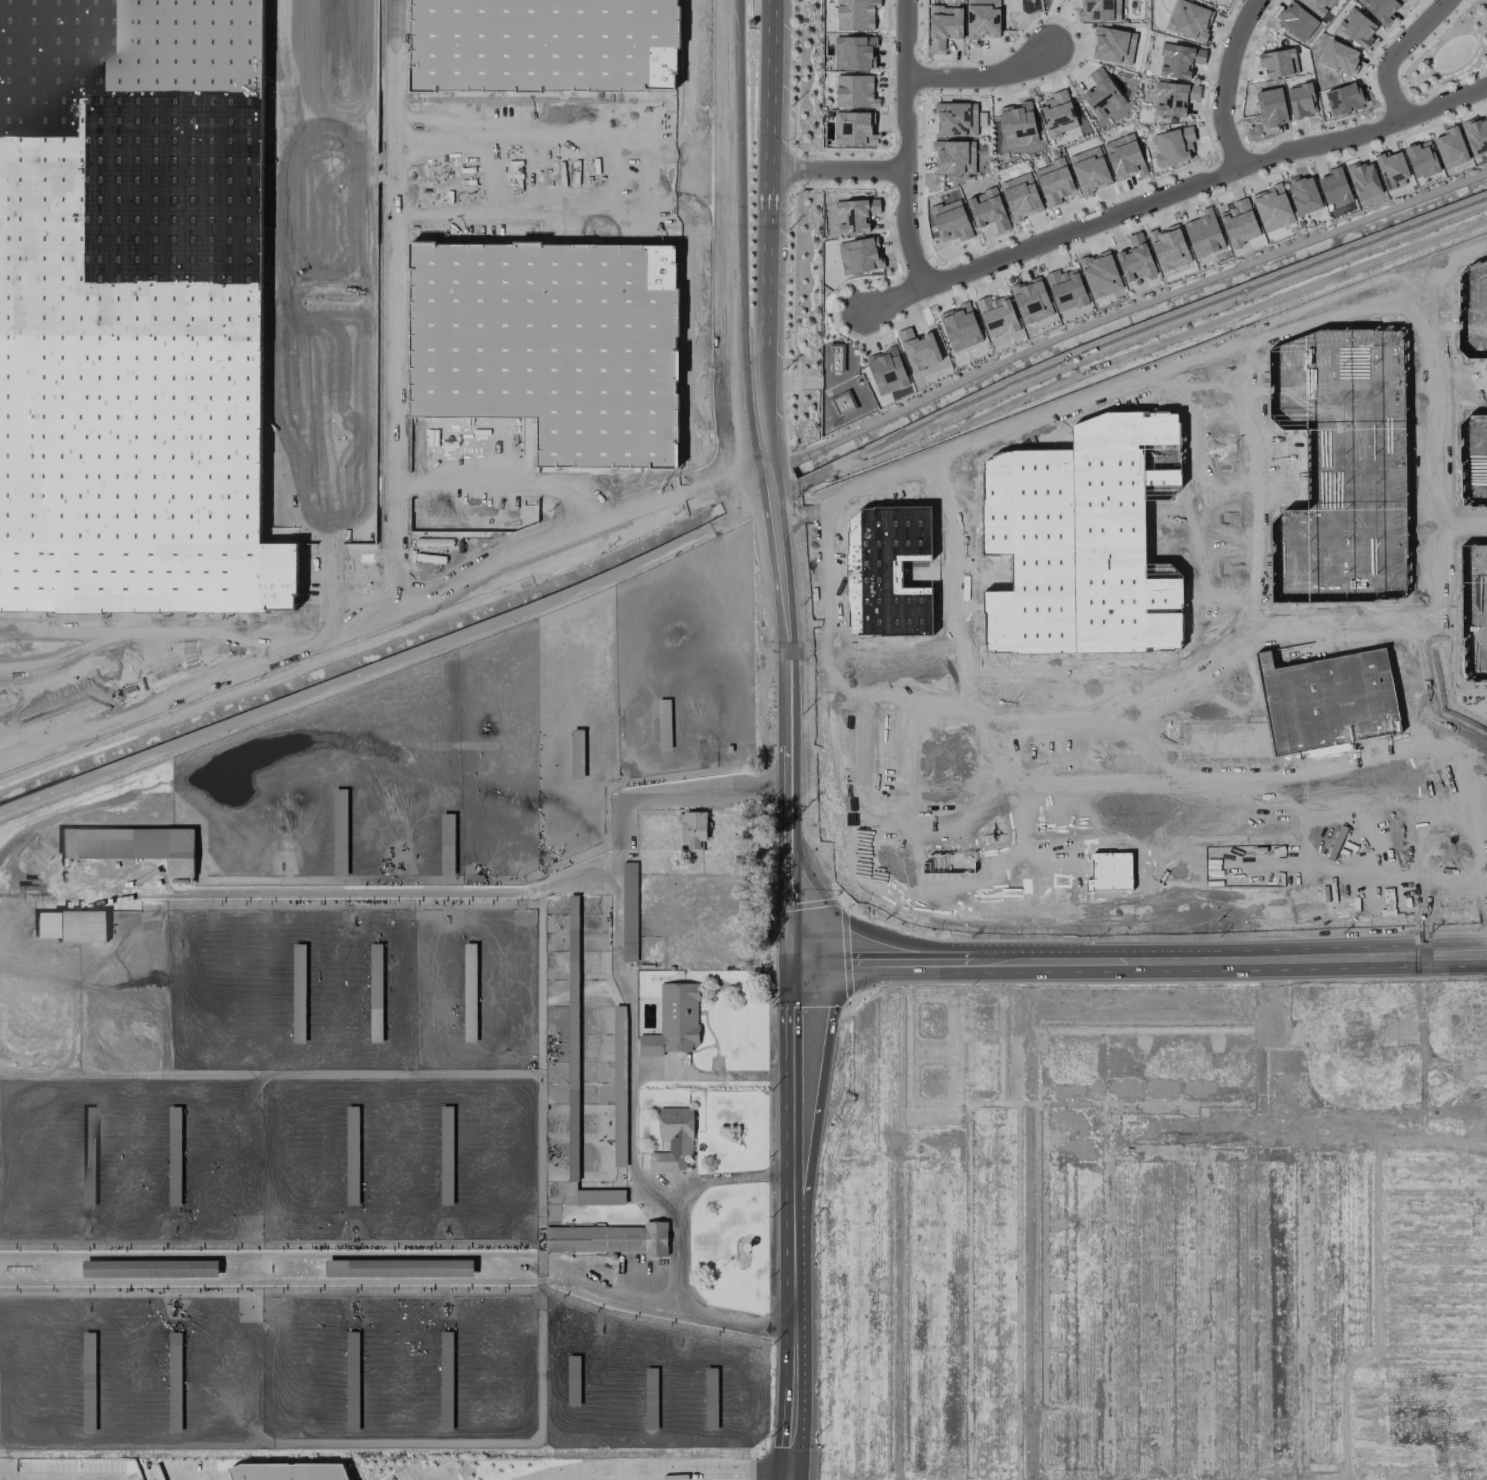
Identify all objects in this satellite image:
building: (1403, 0)
building: (1317, 5)
building: (1380, 8)
building: (1099, 10)
building: (855, 14)
building: (983, 19)
building: (1188, 20)
building: (1296, 20)
building: (944, 25)
building: (1356, 27)
road: (1481, 32)
building: (658, 38)
building: (1113, 45)
road: (1395, 51)
building: (854, 52)
park: (1448, 54)
building: (1340, 57)
building: (1179, 60)
building: (1278, 62)
road: (1431, 69)
road: (980, 77)
road: (1417, 81)
road: (1225, 82)
road: (1405, 82)
road: (1412, 83)
building: (855, 91)
building: (1102, 94)
building: (1174, 97)
building: (1344, 99)
building: (1301, 100)
building: (1271, 107)
building: (1057, 114)
building: (956, 119)
building: (1018, 125)
building: (853, 128)
building: (1476, 136)
road: (904, 145)
building: (1173, 145)
building: (1450, 147)
road: (578, 155)
building: (954, 156)
building: (1124, 156)
building: (1421, 159)
building: (1392, 169)
road: (835, 170)
building: (1089, 170)
building: (1364, 180)
road: (578, 182)
building: (1054, 182)
building: (1335, 188)
road: (1173, 193)
building: (1303, 194)
building: (1021, 196)
building: (1272, 208)
building: (988, 209)
building: (855, 214)
building: (950, 221)
building: (1239, 223)
road: (767, 229)
building: (1204, 233)
road: (734, 235)
building: (1168, 247)
building: (859, 256)
road: (1453, 257)
building: (1135, 259)
building: (1100, 273)
building: (1066, 289)
road: (1419, 292)
building: (1031, 300)
road: (389, 302)
building: (126, 310)
road: (326, 314)
building: (997, 315)
building: (960, 327)
road: (1127, 335)
building: (919, 349)
building: (836, 357)
building: (886, 371)
road: (1091, 391)
building: (842, 405)
road: (1201, 501)
road: (1452, 515)
road: (952, 557)
road: (383, 607)
road: (152, 638)
road: (787, 657)
road: (1109, 673)
road: (59, 676)
road: (107, 681)
road: (1433, 692)
road: (1468, 695)
road: (1420, 696)
road: (1219, 700)
road: (12, 713)
road: (900, 715)
road: (915, 715)
road: (935, 715)
road: (900, 728)
road: (915, 728)
road: (935, 728)
road: (1475, 728)
road: (945, 731)
road: (894, 734)
road: (899, 744)
road: (915, 744)
road: (935, 744)
road: (989, 750)
road: (915, 761)
road: (935, 761)
road: (900, 762)
road: (900, 773)
road: (915, 773)
road: (935, 773)
road: (987, 789)
road: (1402, 806)
road: (1152, 810)
road: (1358, 811)
road: (1320, 815)
road: (1480, 815)
road: (1066, 826)
building: (693, 829)
building: (340, 840)
building: (132, 846)
building: (948, 862)
road: (1285, 862)
road: (1039, 875)
road: (915, 878)
building: (629, 907)
road: (789, 911)
building: (71, 926)
road: (839, 926)
road: (962, 949)
road: (391, 953)
road: (1016, 956)
road: (1260, 960)
road: (912, 963)
traffic signals: (791, 965)
road: (386, 984)
building: (674, 1021)
building: (620, 1060)
road: (634, 1075)
building: (673, 1138)
building: (620, 1156)
building: (446, 1157)
building: (592, 1196)
road: (791, 1222)
building: (609, 1238)
road: (679, 1247)
building: (446, 1373)
traffic signals: (787, 1465)
road: (661, 1466)
building: (286, 1469)
road: (427, 1471)
road: (58, 1477)
road: (166, 1479)

